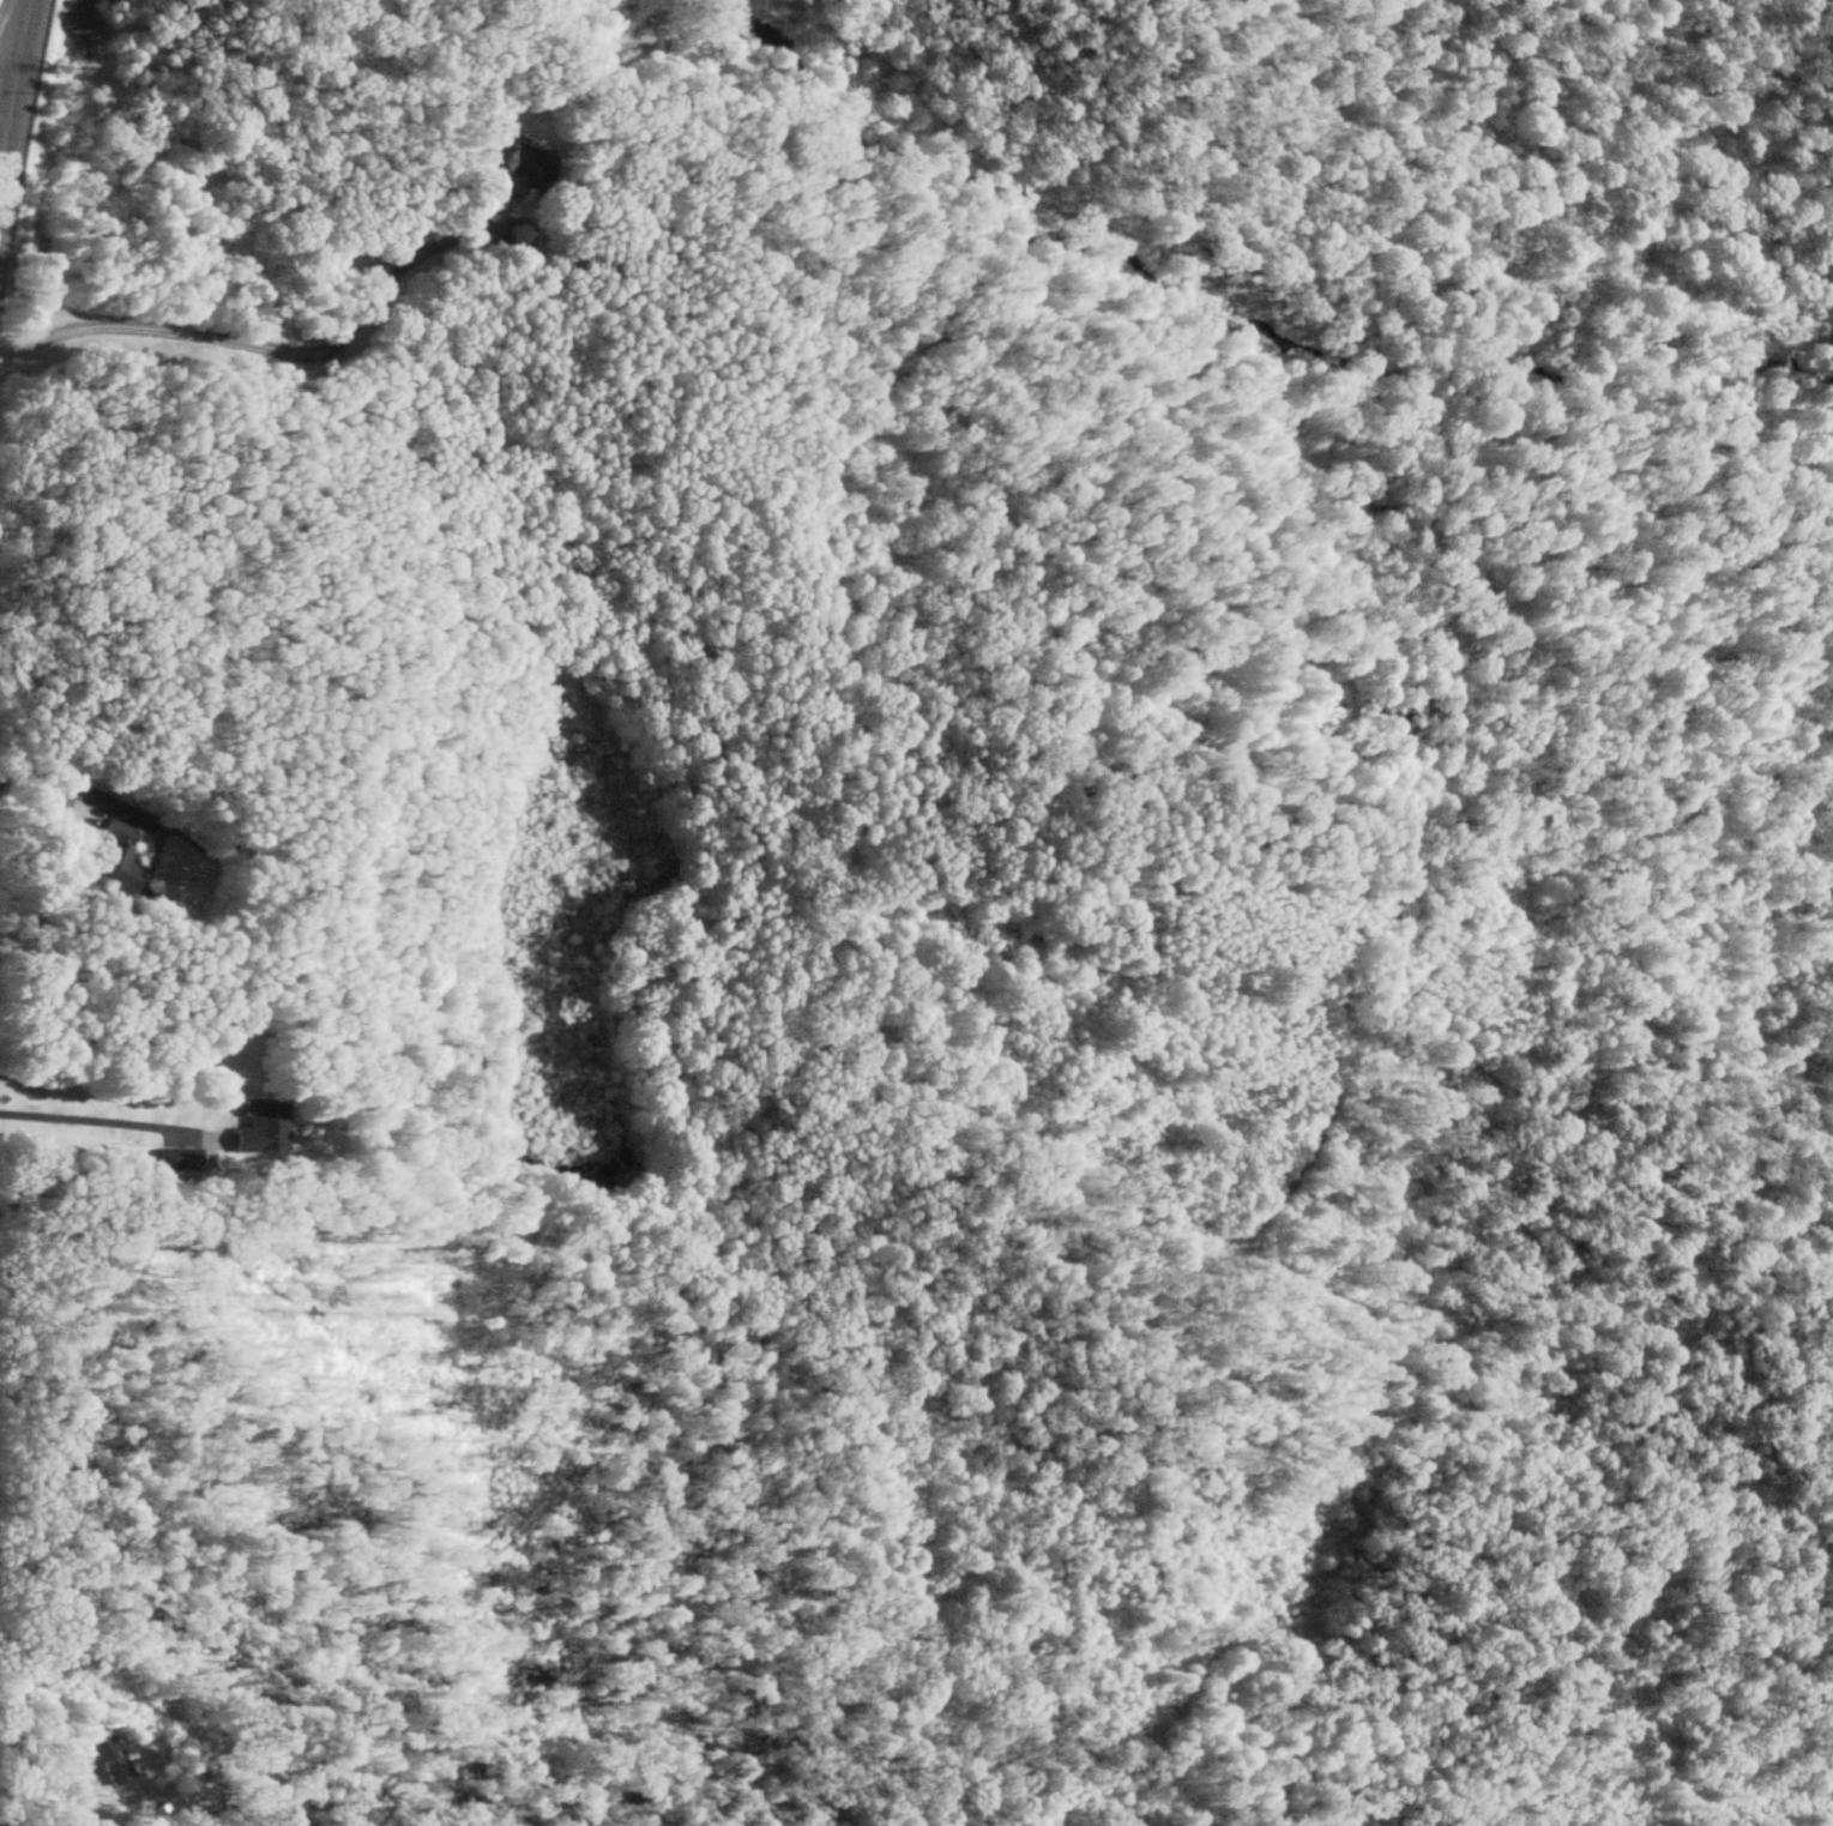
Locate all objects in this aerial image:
road: (4, 40)
road: (6, 41)
building: (517, 164)
road: (251, 337)
road: (83, 783)
building: (105, 860)
road: (90, 1115)
building: (252, 1127)
road: (31, 1753)
building: (105, 1760)

